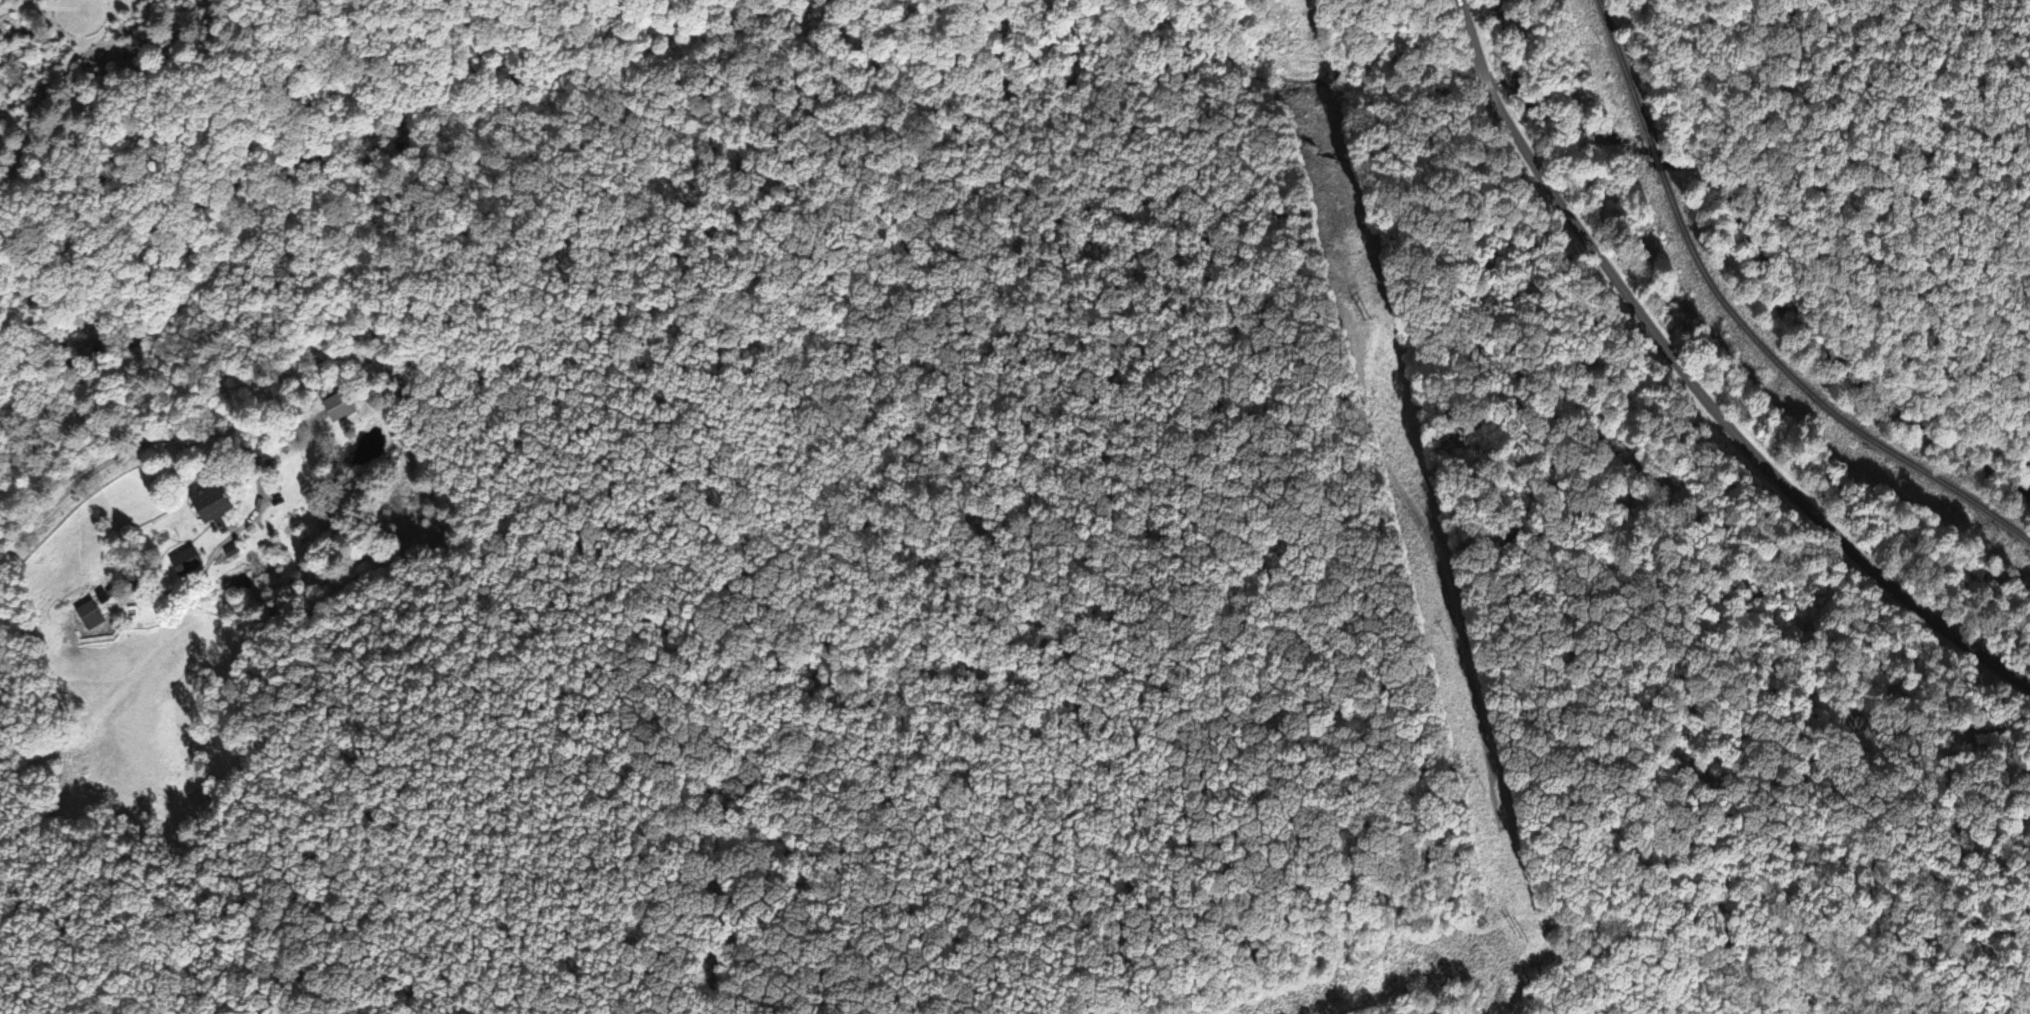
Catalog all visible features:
railway: (1622, 72)
railway: (1654, 158)
road: (1690, 388)
railway: (1807, 392)
building: (338, 406)
road: (116, 456)
building: (214, 504)
building: (186, 561)
building: (90, 616)

